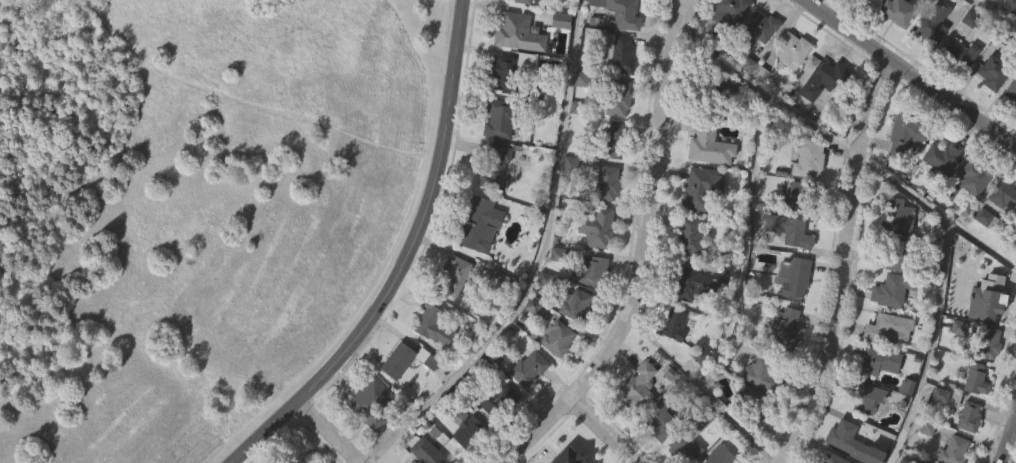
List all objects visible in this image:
building: (867, 0)
building: (522, 1)
building: (651, 1)
building: (820, 4)
road: (10, 9)
building: (556, 12)
building: (897, 12)
road: (996, 12)
building: (996, 13)
building: (615, 14)
building: (727, 15)
building: (859, 17)
building: (760, 24)
building: (932, 24)
building: (516, 34)
building: (1008, 43)
building: (726, 47)
building: (792, 48)
building: (893, 49)
building: (617, 50)
building: (960, 53)
building: (558, 59)
building: (931, 61)
building: (758, 65)
building: (994, 71)
building: (514, 72)
road: (910, 73)
building: (823, 78)
building: (711, 86)
road: (765, 87)
road: (226, 88)
building: (789, 90)
building: (1011, 91)
building: (958, 92)
building: (616, 97)
building: (990, 112)
building: (499, 116)
building: (578, 117)
building: (821, 118)
building: (1010, 130)
building: (905, 132)
building: (609, 141)
building: (709, 144)
building: (941, 155)
building: (807, 157)
building: (493, 166)
building: (570, 166)
building: (904, 171)
building: (603, 183)
building: (698, 186)
building: (940, 195)
building: (1002, 195)
building: (798, 197)
building: (567, 204)
park: (178, 205)
building: (897, 215)
building: (971, 218)
building: (478, 223)
building: (595, 226)
building: (788, 229)
building: (1002, 234)
building: (687, 235)
road: (744, 239)
road: (980, 241)
road: (641, 254)
building: (894, 255)
building: (980, 255)
road: (353, 258)
road: (404, 260)
road: (535, 262)
building: (477, 263)
road: (844, 265)
building: (590, 270)
building: (450, 274)
building: (792, 275)
building: (496, 278)
building: (690, 282)
building: (891, 289)
road: (939, 289)
building: (554, 293)
building: (992, 298)
building: (574, 305)
building: (589, 310)
building: (451, 314)
building: (791, 316)
building: (432, 323)
building: (689, 323)
building: (672, 326)
building: (886, 326)
building: (780, 327)
building: (556, 337)
building: (579, 340)
building: (986, 342)
building: (407, 359)
building: (877, 360)
building: (431, 364)
building: (670, 364)
building: (781, 367)
building: (529, 369)
building: (761, 372)
building: (554, 377)
building: (973, 378)
building: (985, 382)
building: (636, 385)
road: (702, 387)
building: (945, 396)
building: (425, 397)
building: (396, 398)
building: (863, 398)
building: (496, 401)
building: (369, 403)
building: (749, 404)
building: (527, 408)
building: (968, 416)
building: (659, 420)
building: (635, 425)
road: (603, 429)
road: (327, 432)
building: (937, 434)
building: (495, 437)
building: (846, 437)
building: (866, 437)
road: (1006, 437)
building: (369, 440)
building: (682, 446)
building: (953, 450)
building: (966, 451)
building: (425, 452)
building: (660, 452)
building: (561, 455)
building: (719, 455)
building: (832, 458)
building: (468, 459)
building: (295, 461)
building: (923, 461)
building: (287, 462)

